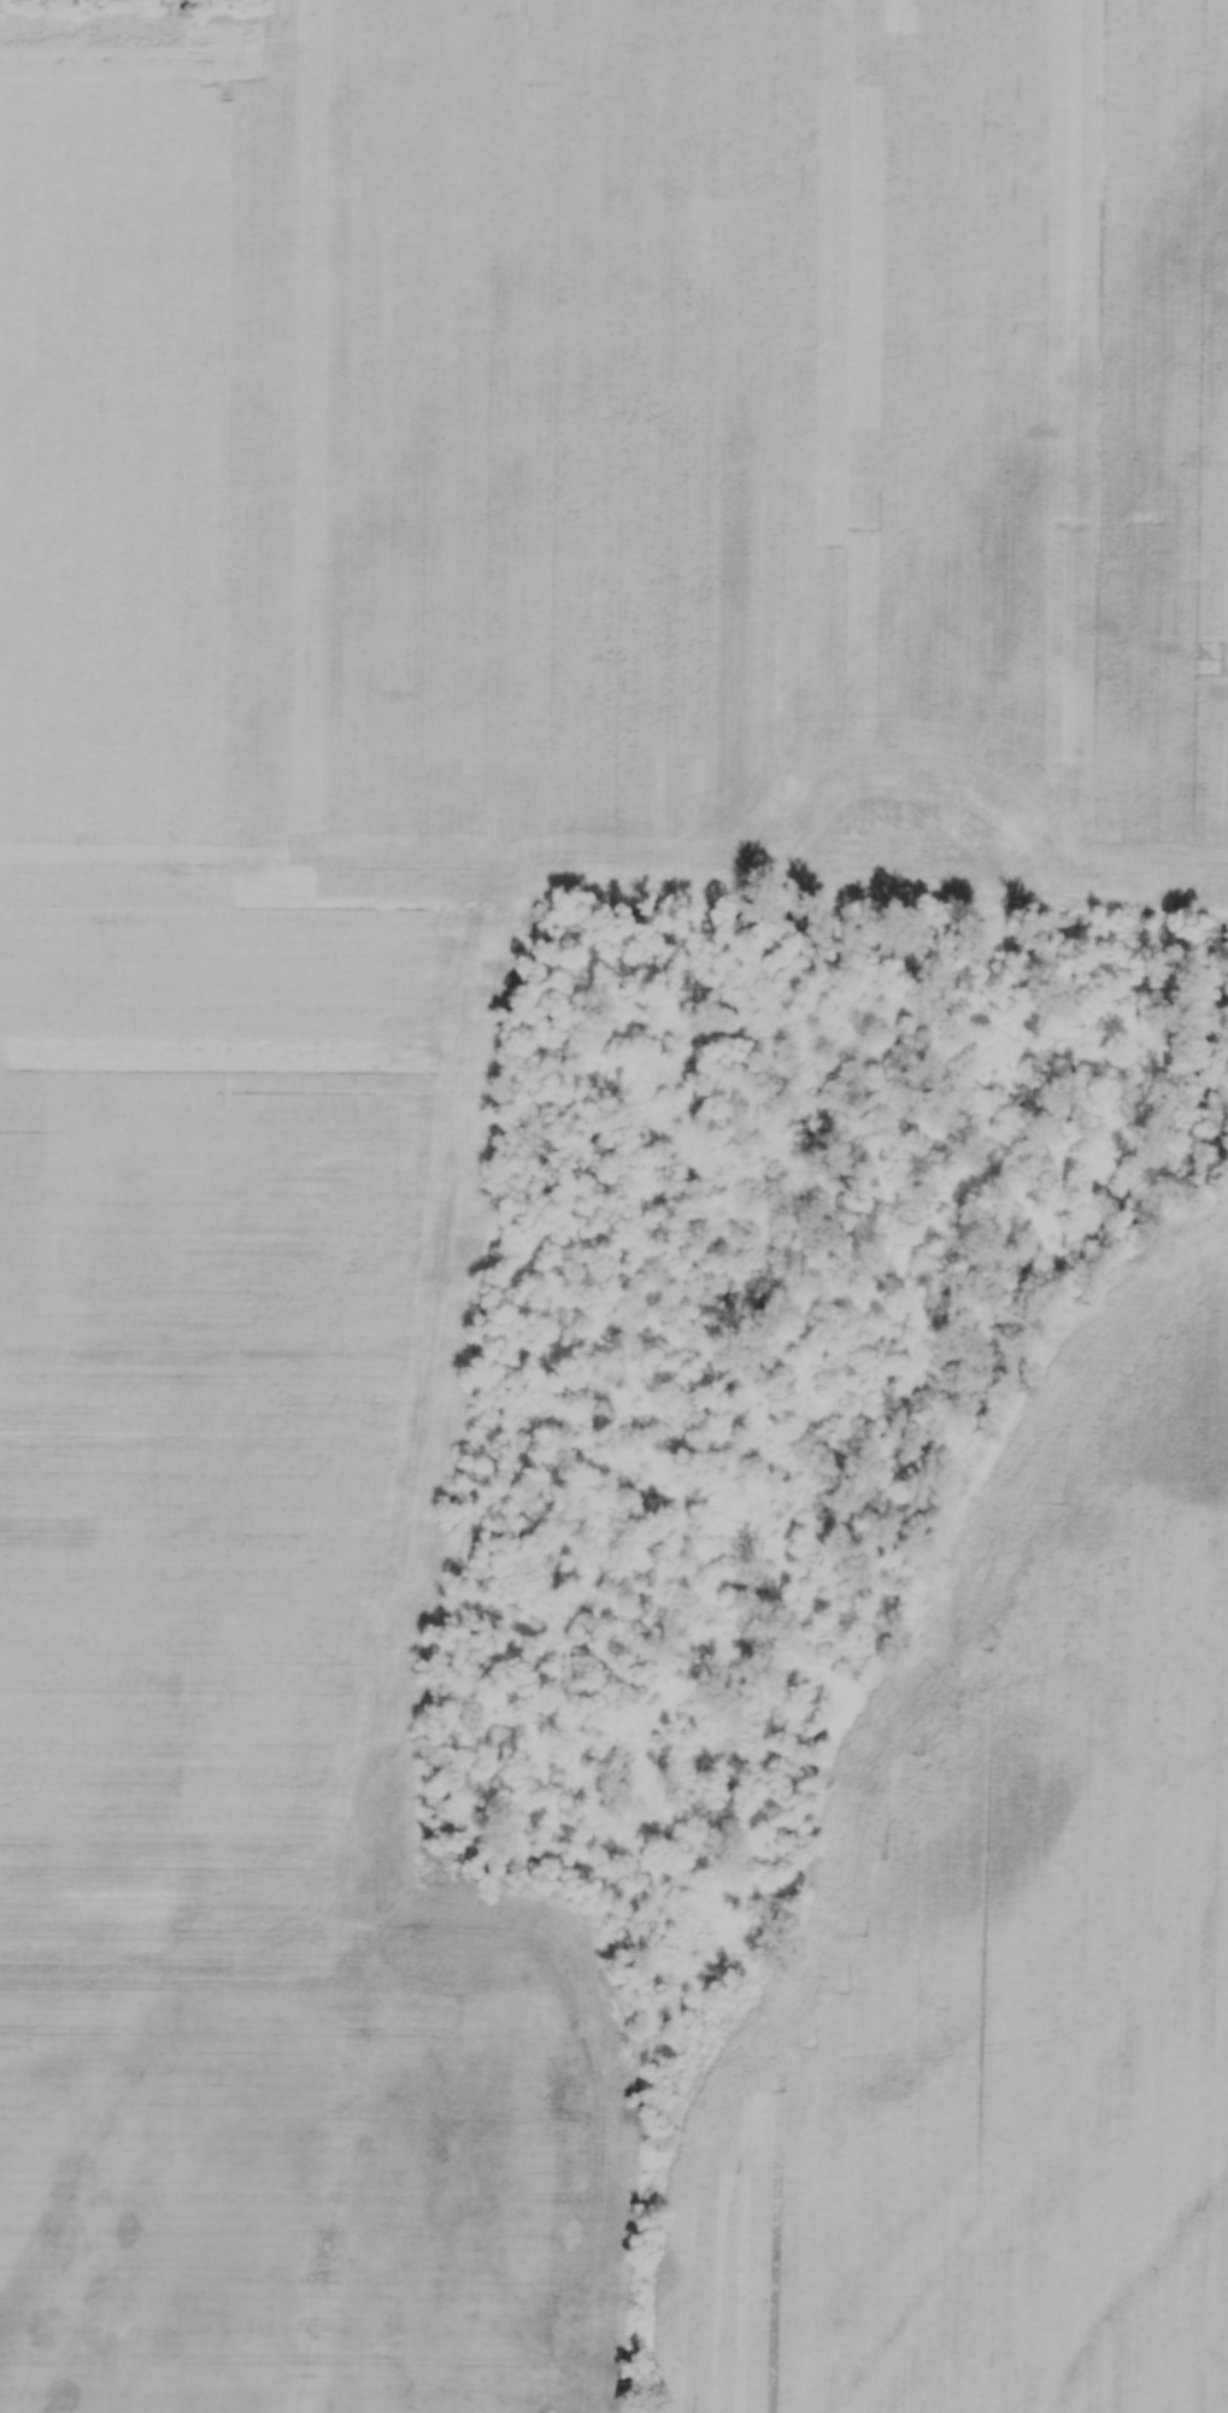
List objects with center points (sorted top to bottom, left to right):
crop: (469, 961)
crop: (1003, 1951)

